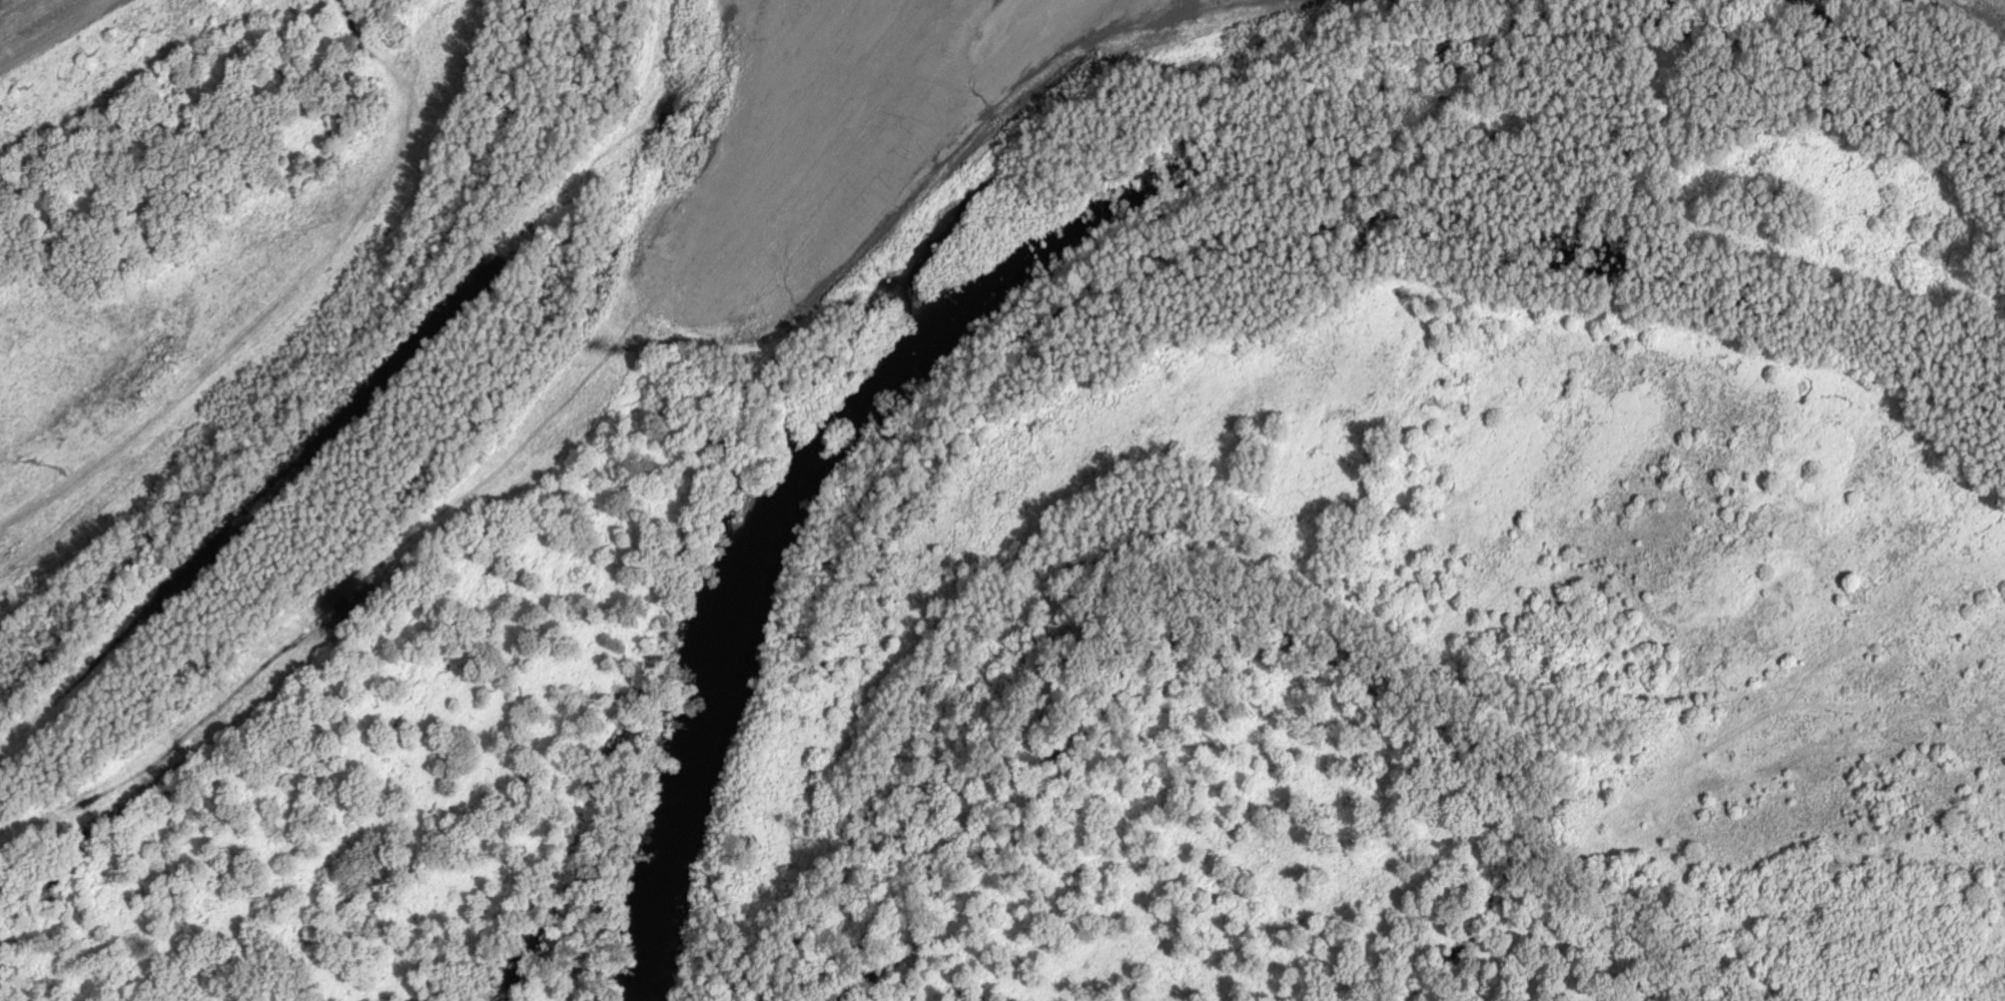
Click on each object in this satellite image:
road: (1896, 71)

